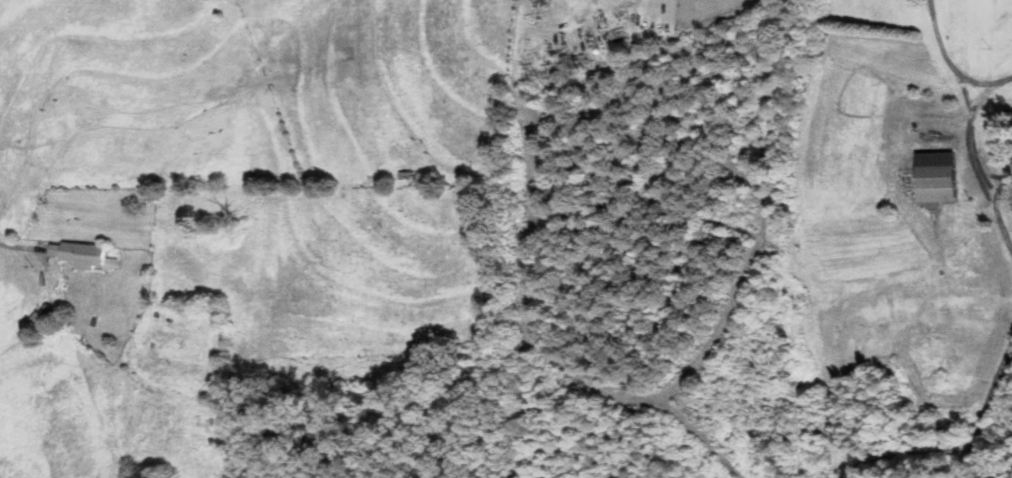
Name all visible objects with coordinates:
road: (942, 69)
road: (956, 157)
building: (937, 176)
road: (23, 248)
building: (84, 254)
building: (46, 309)
road: (990, 327)

